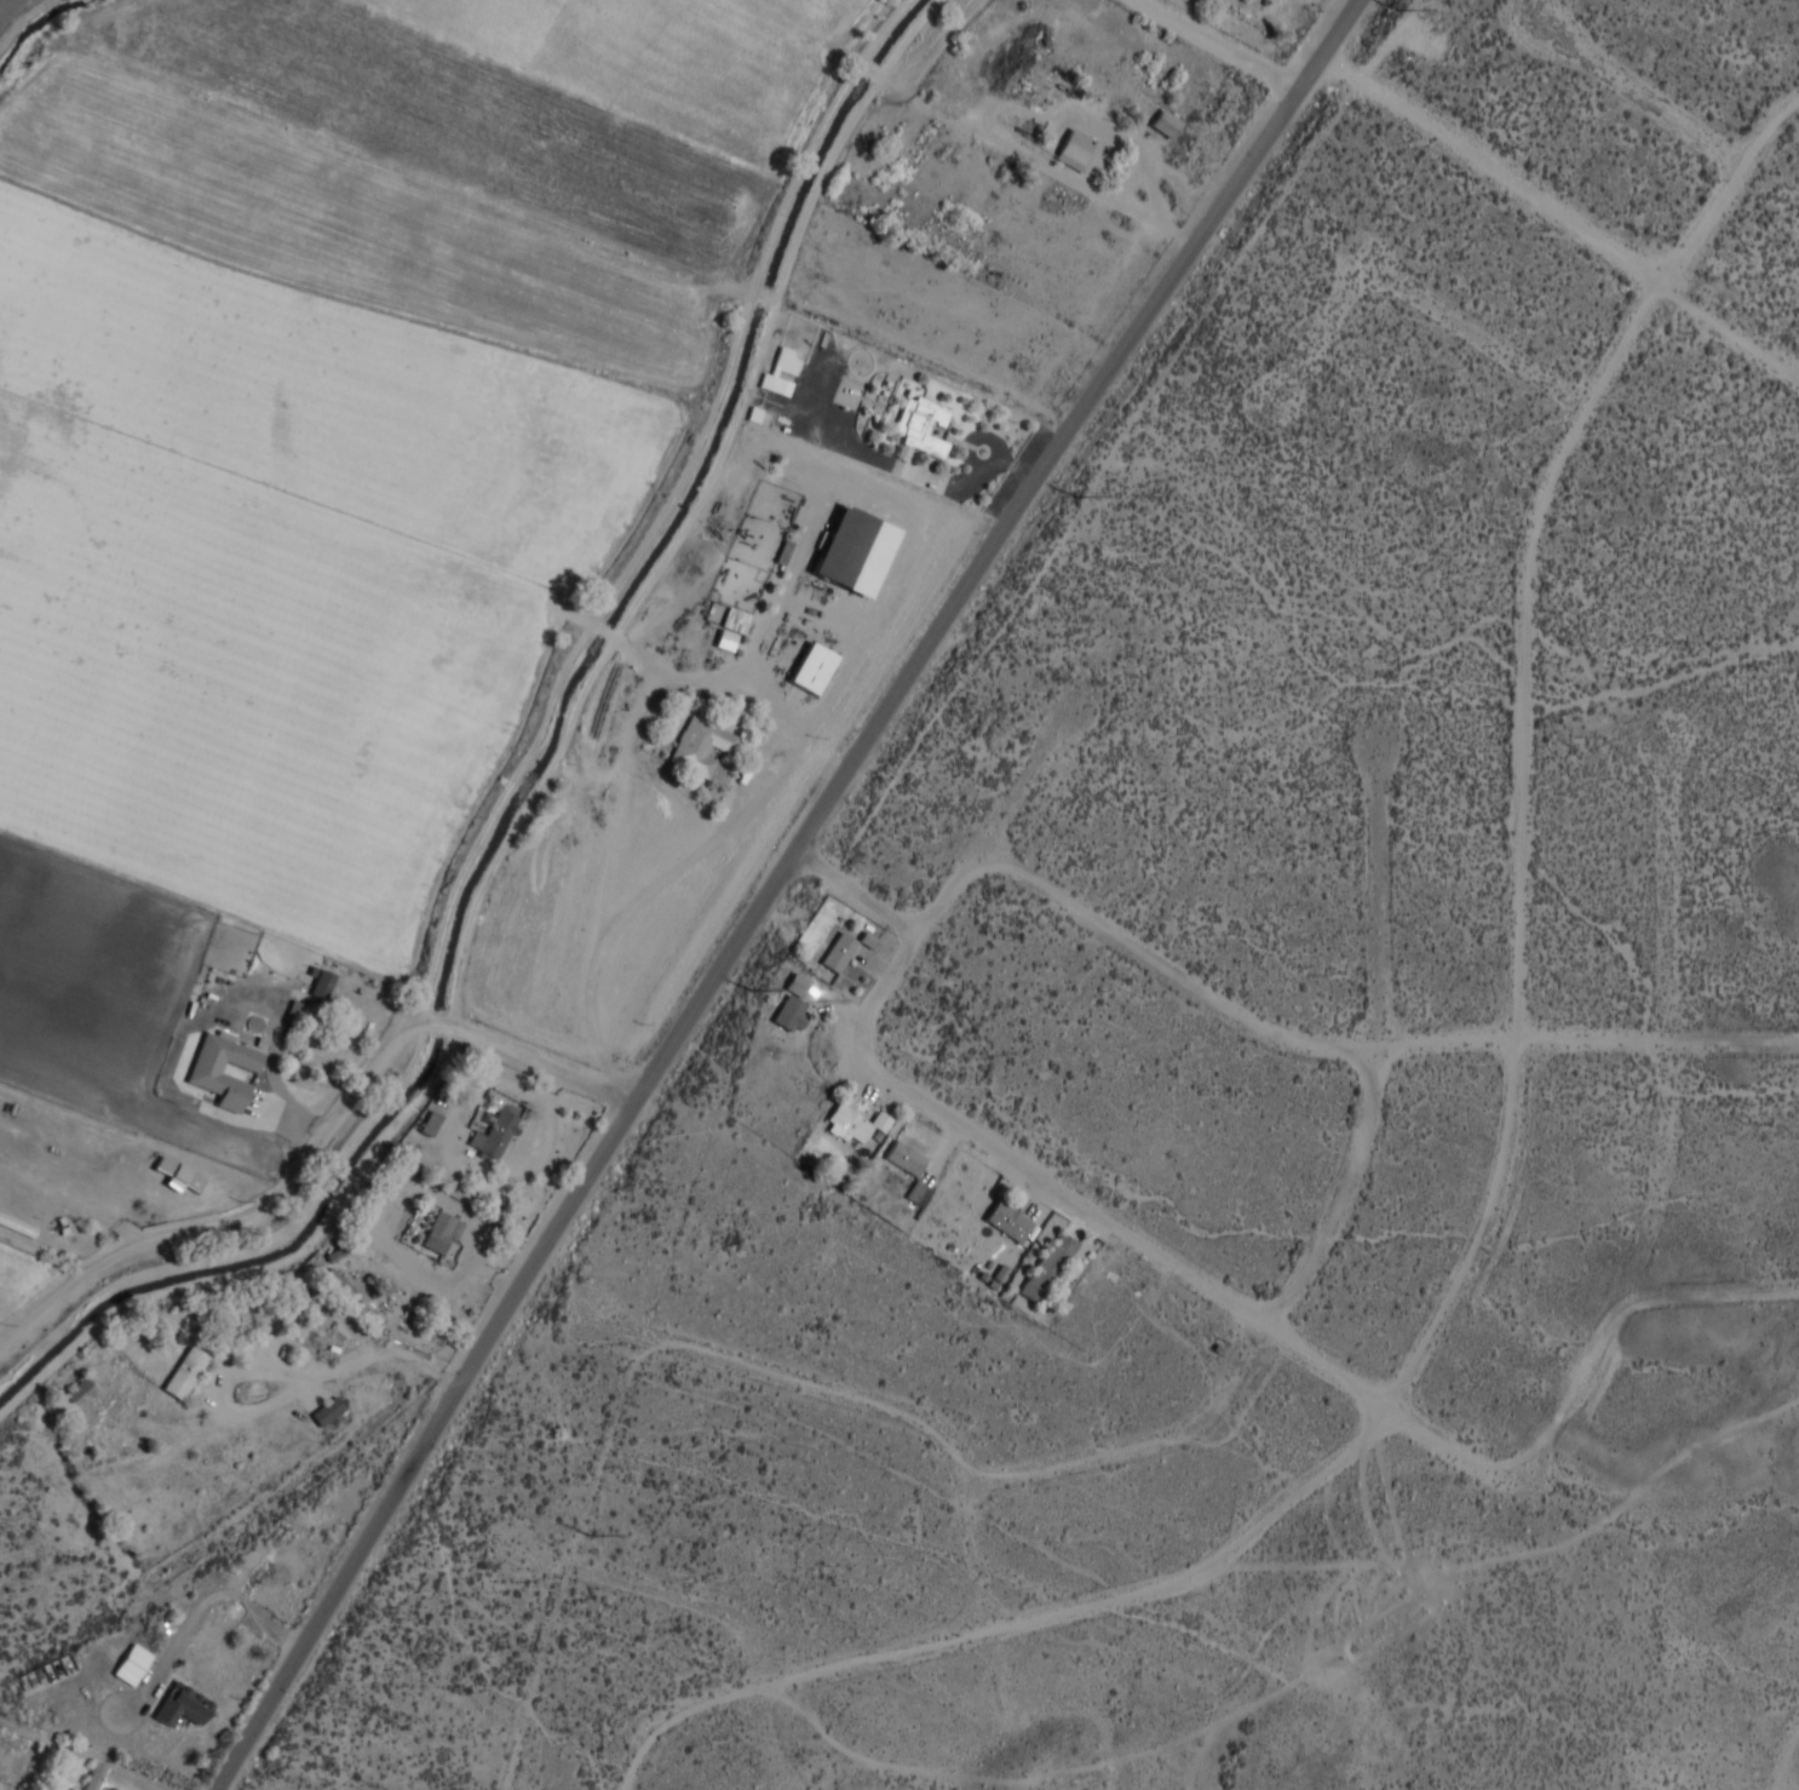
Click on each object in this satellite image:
building: (1044, 40)
road: (1220, 45)
building: (1168, 125)
building: (1079, 150)
road: (1499, 167)
road: (1730, 194)
building: (781, 371)
building: (760, 415)
building: (925, 428)
building: (853, 550)
building: (731, 629)
building: (811, 667)
building: (705, 746)
road: (774, 885)
road: (858, 890)
building: (841, 952)
road: (906, 952)
building: (318, 982)
building: (793, 1014)
building: (208, 1067)
building: (430, 1121)
building: (857, 1124)
building: (499, 1131)
road: (321, 1141)
building: (908, 1158)
building: (178, 1175)
building: (919, 1194)
building: (1012, 1223)
building: (18, 1226)
building: (444, 1232)
road: (1174, 1266)
building: (1051, 1267)
building: (339, 1283)
road: (433, 1371)
building: (186, 1372)
building: (76, 1389)
building: (331, 1412)
road: (212, 1602)
building: (131, 1664)
building: (185, 1706)
building: (0, 1752)
building: (97, 1775)
building: (75, 1789)

